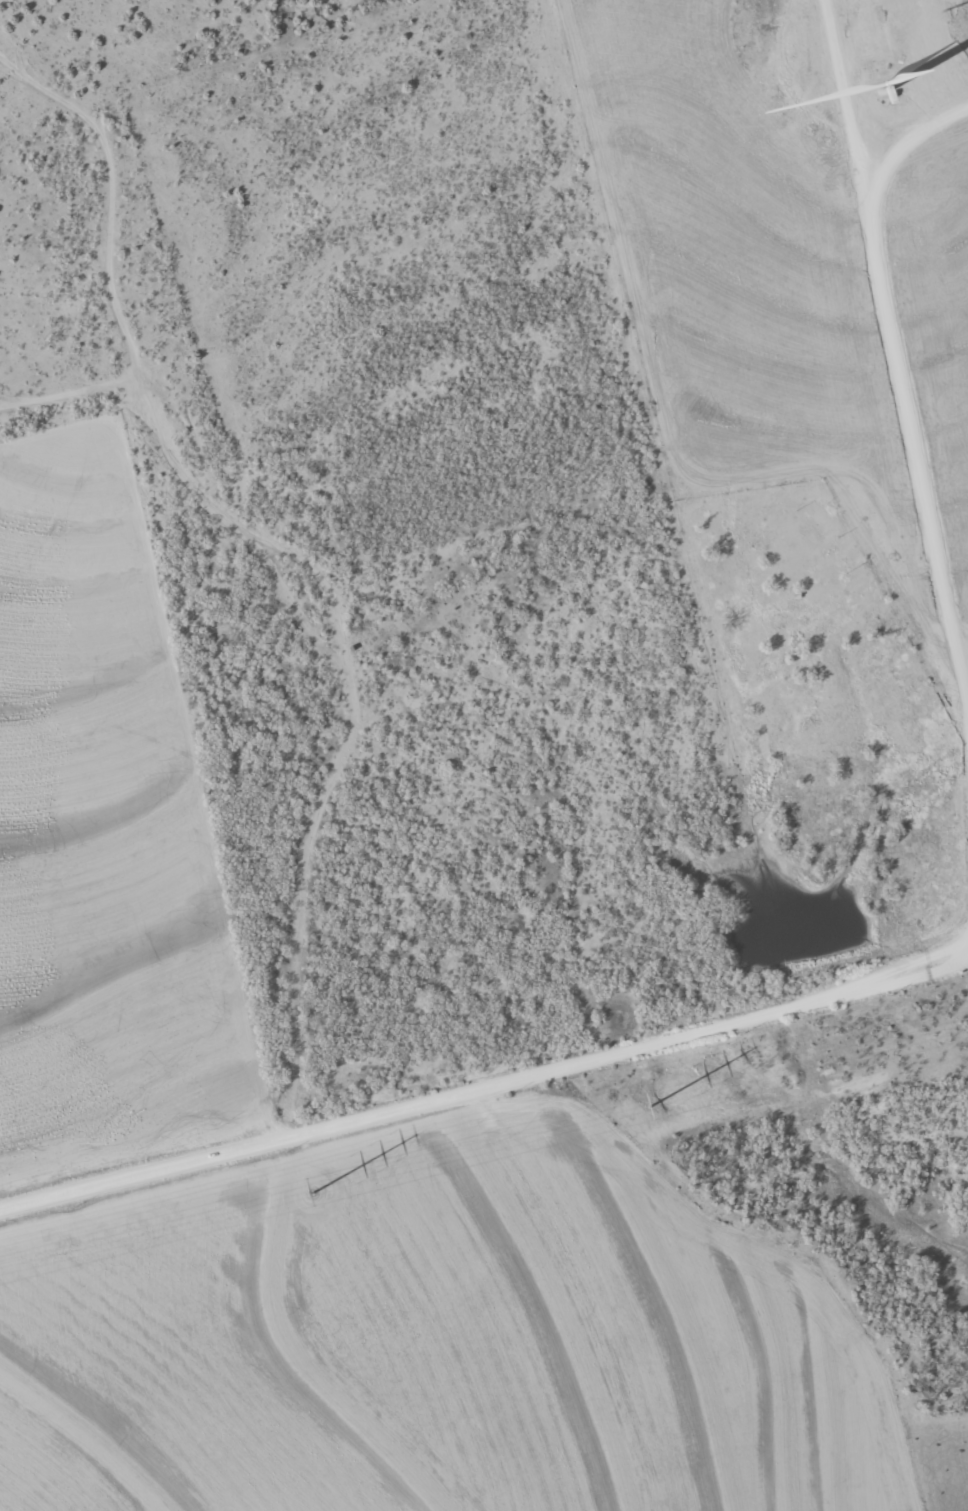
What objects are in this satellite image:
wind turbine: (892, 86)
road: (899, 331)
road: (695, 474)
road: (959, 602)
road: (484, 1090)
power tower: (651, 1106)
power tower: (313, 1193)

